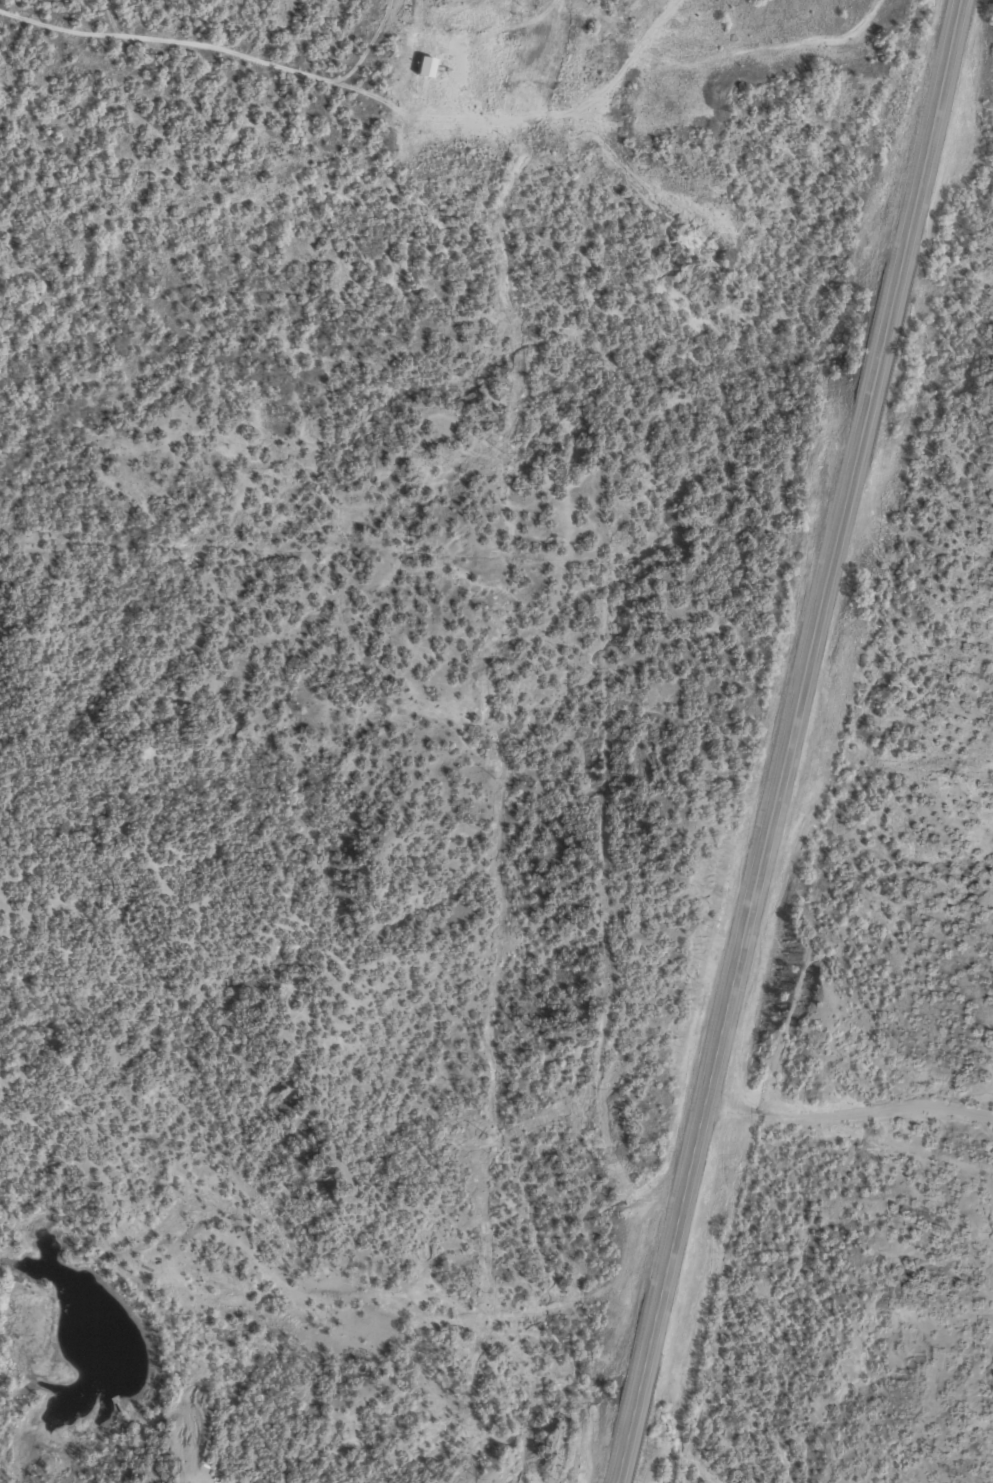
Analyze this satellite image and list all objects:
road: (788, 741)
road: (846, 1125)
road: (377, 1270)
road: (565, 1384)

